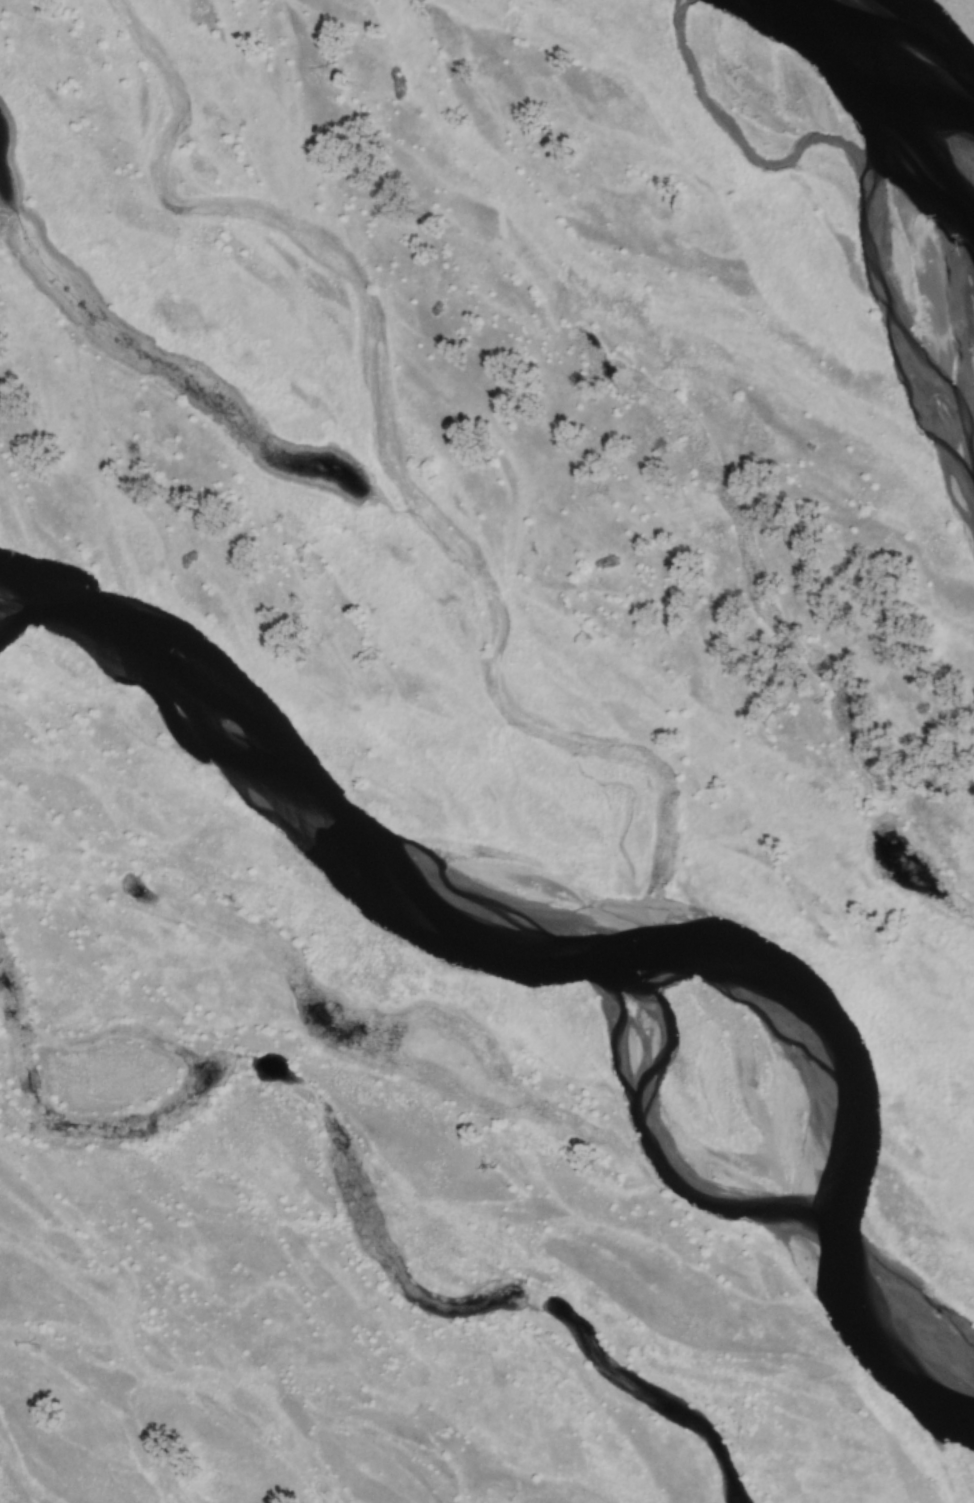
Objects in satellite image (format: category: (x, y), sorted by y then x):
river: (891, 92)

